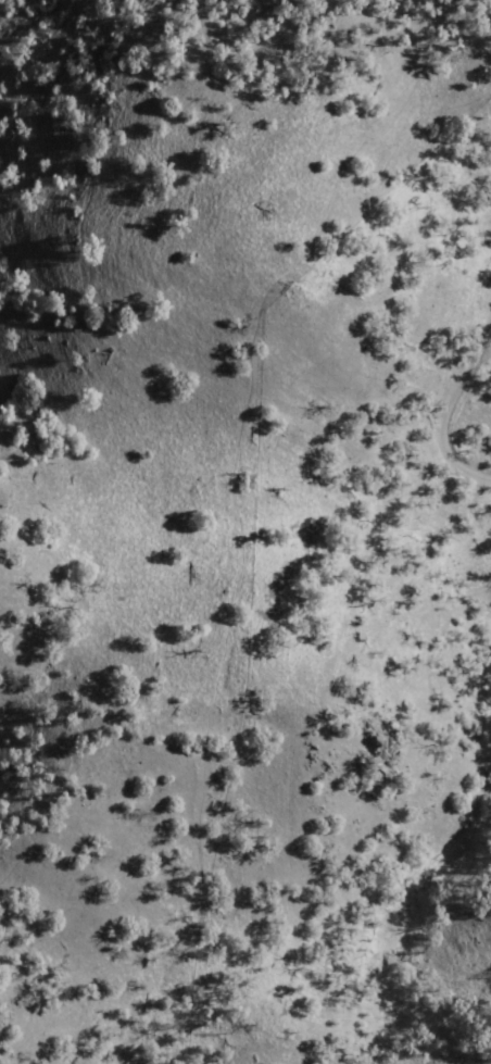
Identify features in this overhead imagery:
road: (453, 421)

